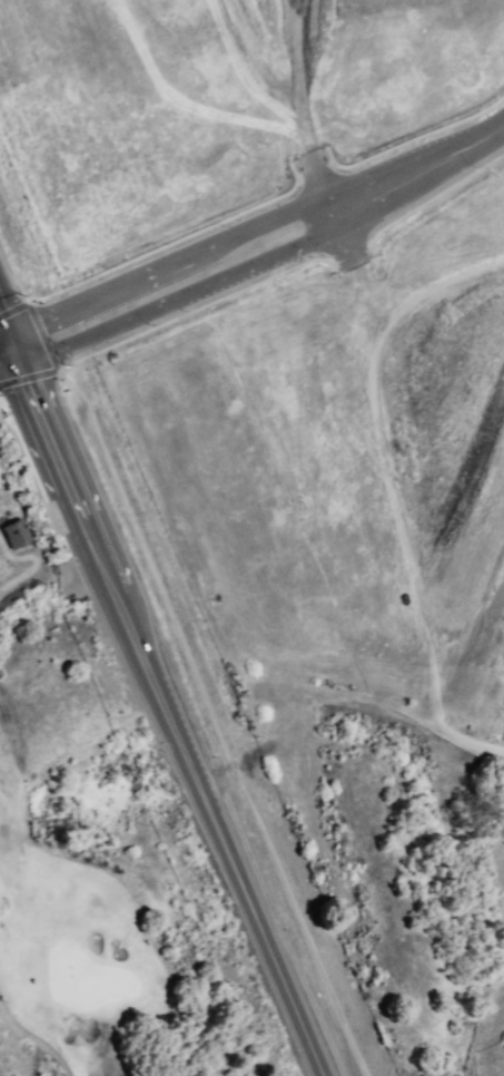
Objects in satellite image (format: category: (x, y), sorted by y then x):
park: (210, 109)
road: (412, 138)
road: (314, 169)
road: (418, 173)
road: (433, 196)
road: (330, 209)
road: (258, 225)
road: (172, 241)
road: (293, 248)
road: (348, 251)
road: (98, 295)
road: (192, 309)
road: (131, 319)
road: (3, 325)
traffic signals: (8, 334)
road: (3, 335)
road: (47, 348)
road: (14, 350)
traffic signals: (21, 366)
road: (10, 369)
road: (46, 428)
road: (78, 506)
road: (90, 534)
building: (14, 535)
road: (106, 570)
road: (22, 573)
road: (220, 834)
park: (90, 859)
road: (33, 1033)

